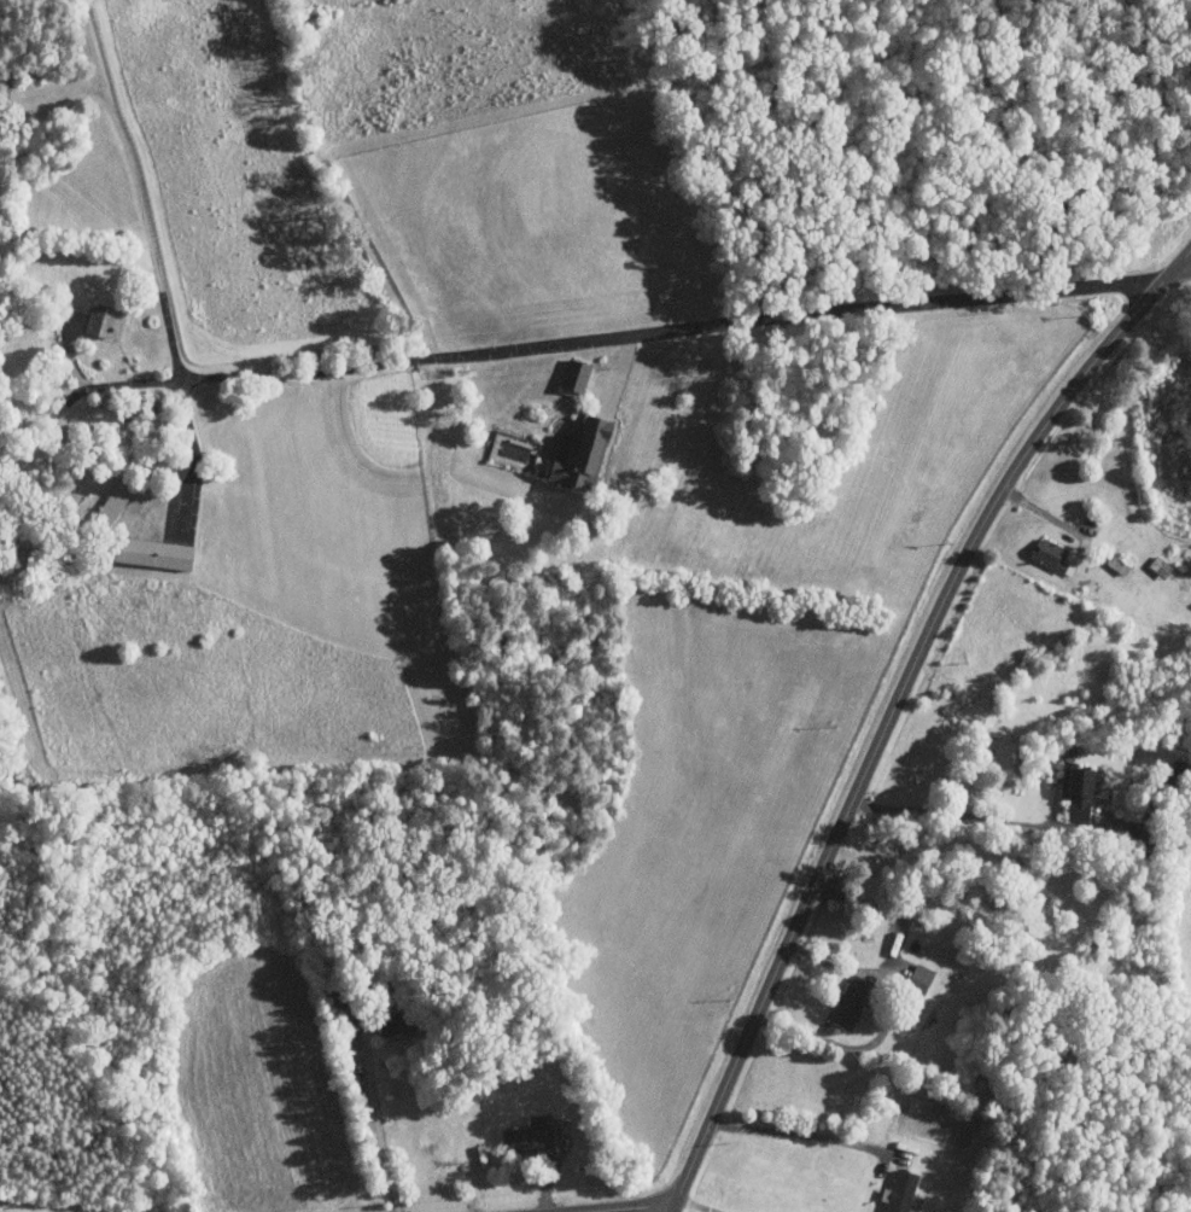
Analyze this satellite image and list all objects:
building: (104, 320)
road: (684, 327)
building: (578, 375)
road: (93, 390)
building: (585, 456)
road: (195, 460)
building: (118, 501)
building: (159, 554)
building: (1053, 555)
building: (1162, 567)
road: (895, 710)
building: (1081, 793)
road: (964, 816)
road: (892, 911)
building: (924, 977)
building: (852, 1004)
road: (886, 1025)
road: (376, 1120)
road: (798, 1134)
building: (532, 1137)
building: (905, 1191)
road: (648, 1210)

